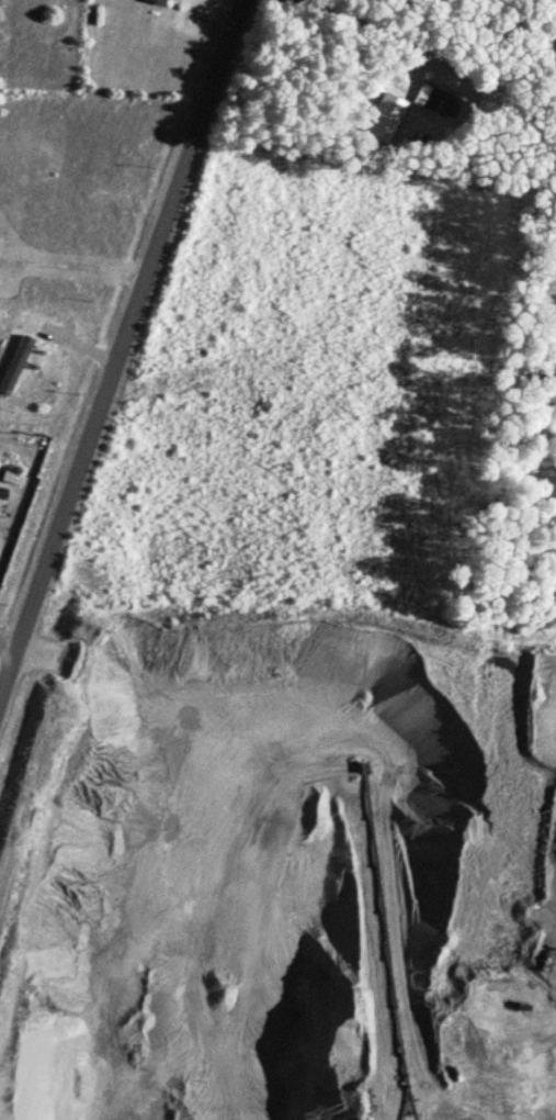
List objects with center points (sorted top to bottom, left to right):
building: (162, 1)
road: (117, 334)
building: (15, 362)
quarry: (281, 864)
road: (37, 1061)

